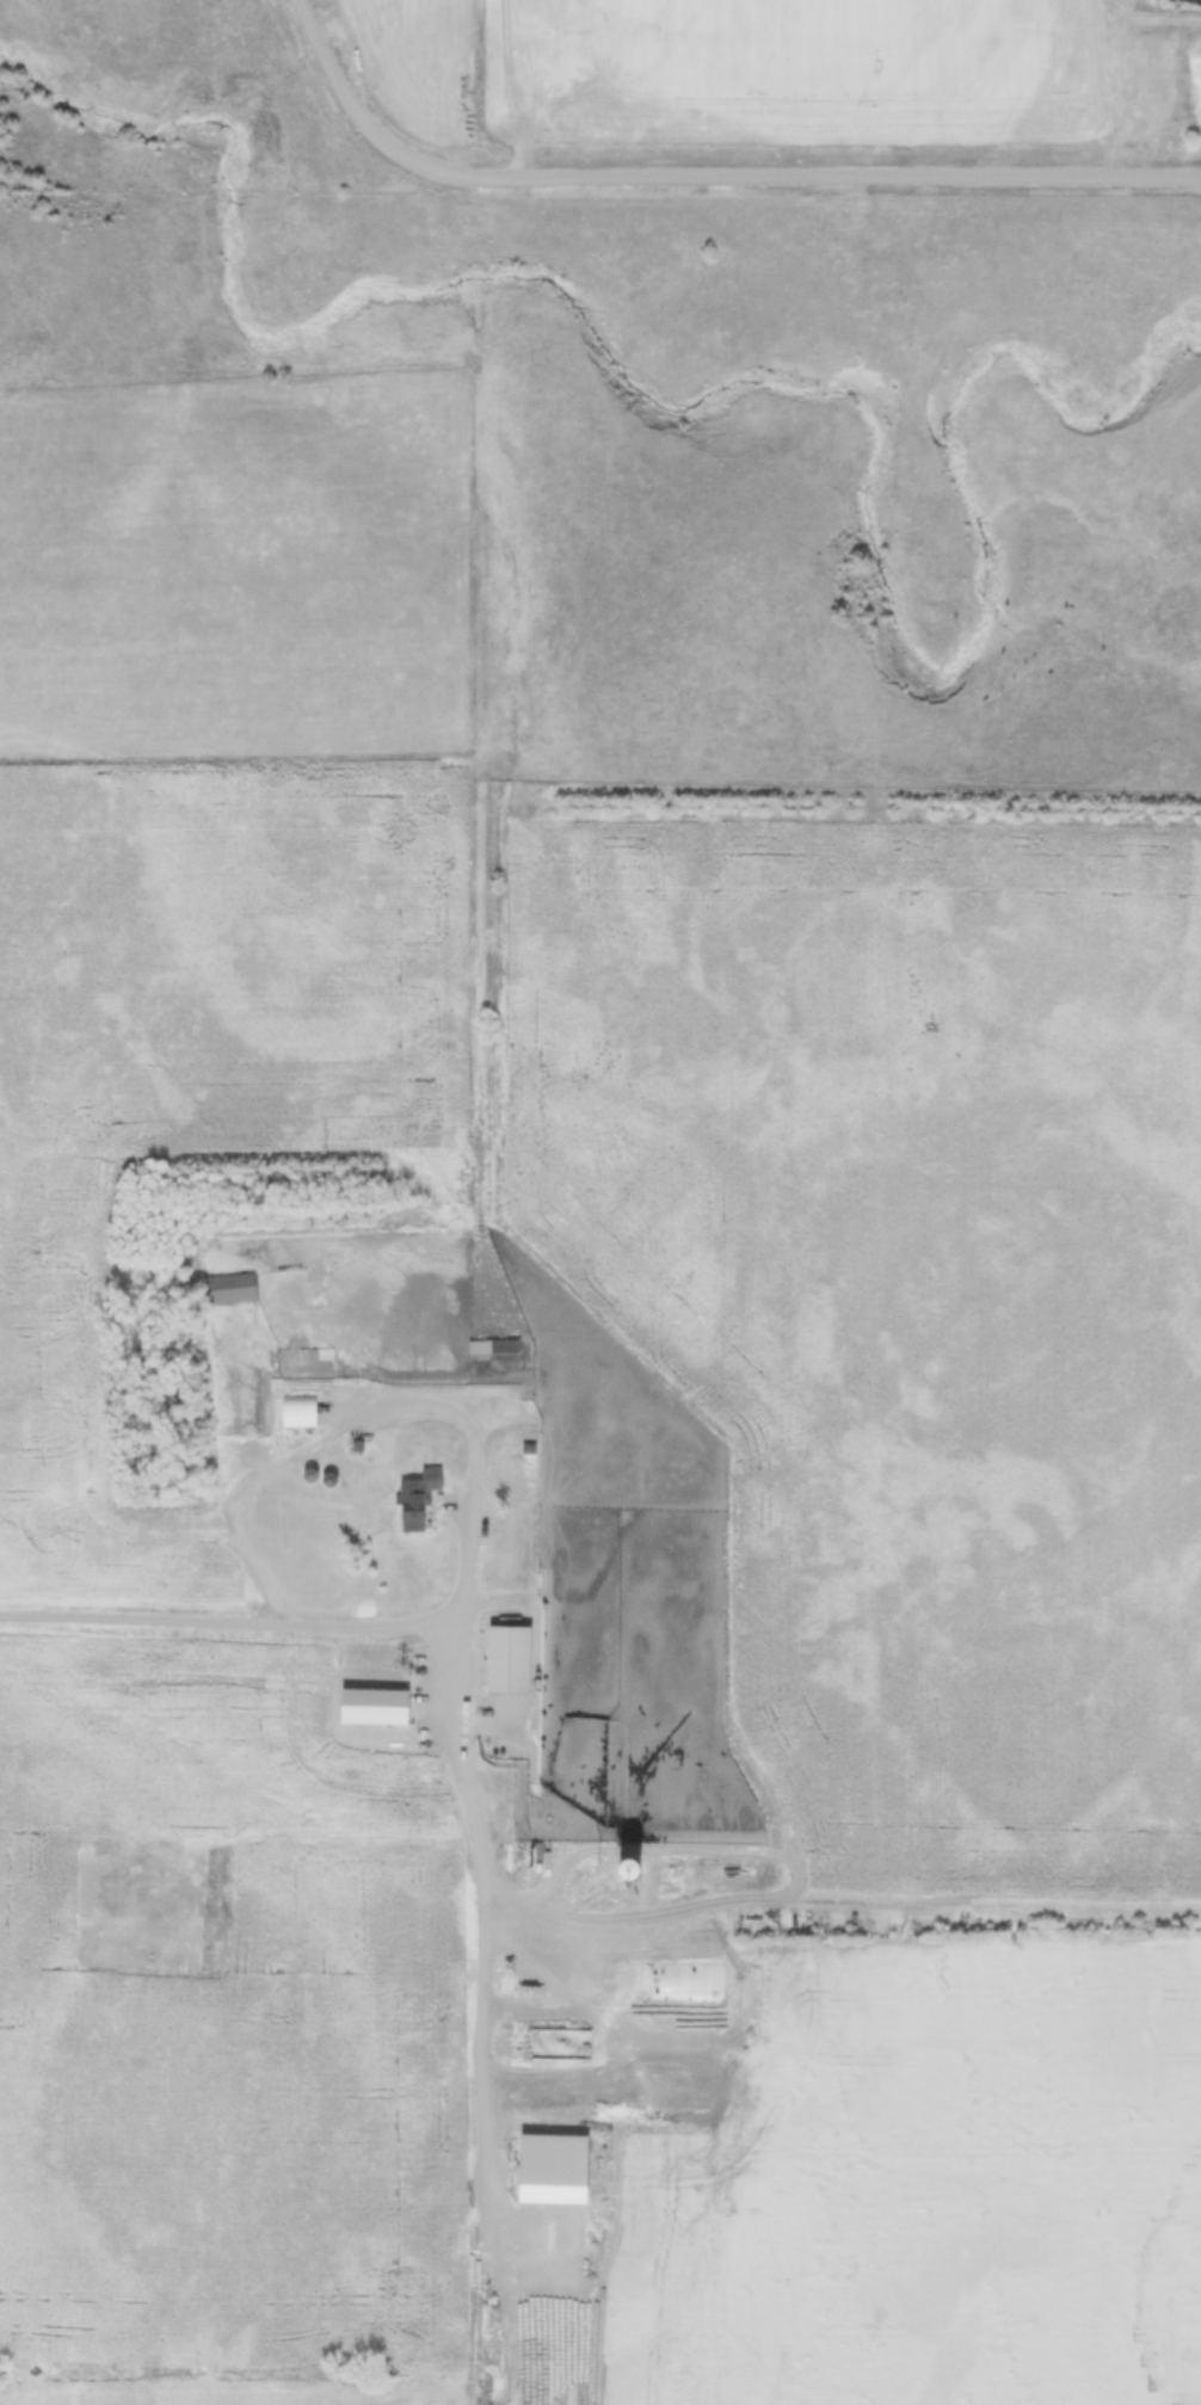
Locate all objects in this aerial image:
road: (707, 177)
building: (230, 1290)
building: (492, 1350)
building: (322, 1365)
building: (300, 1414)
building: (431, 1481)
building: (412, 1513)
building: (509, 1661)
road: (454, 1685)
building: (629, 1871)
building: (553, 2170)

